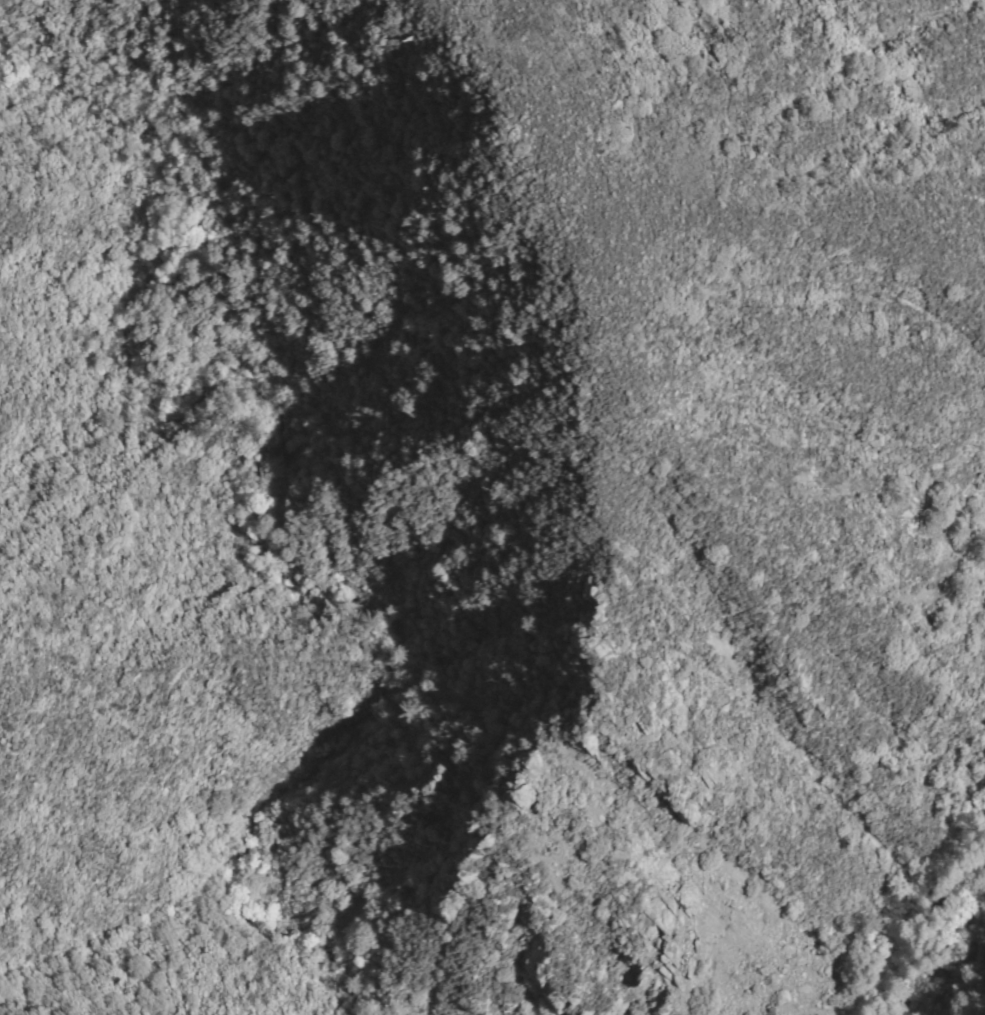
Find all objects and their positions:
road: (787, 341)
road: (937, 970)

